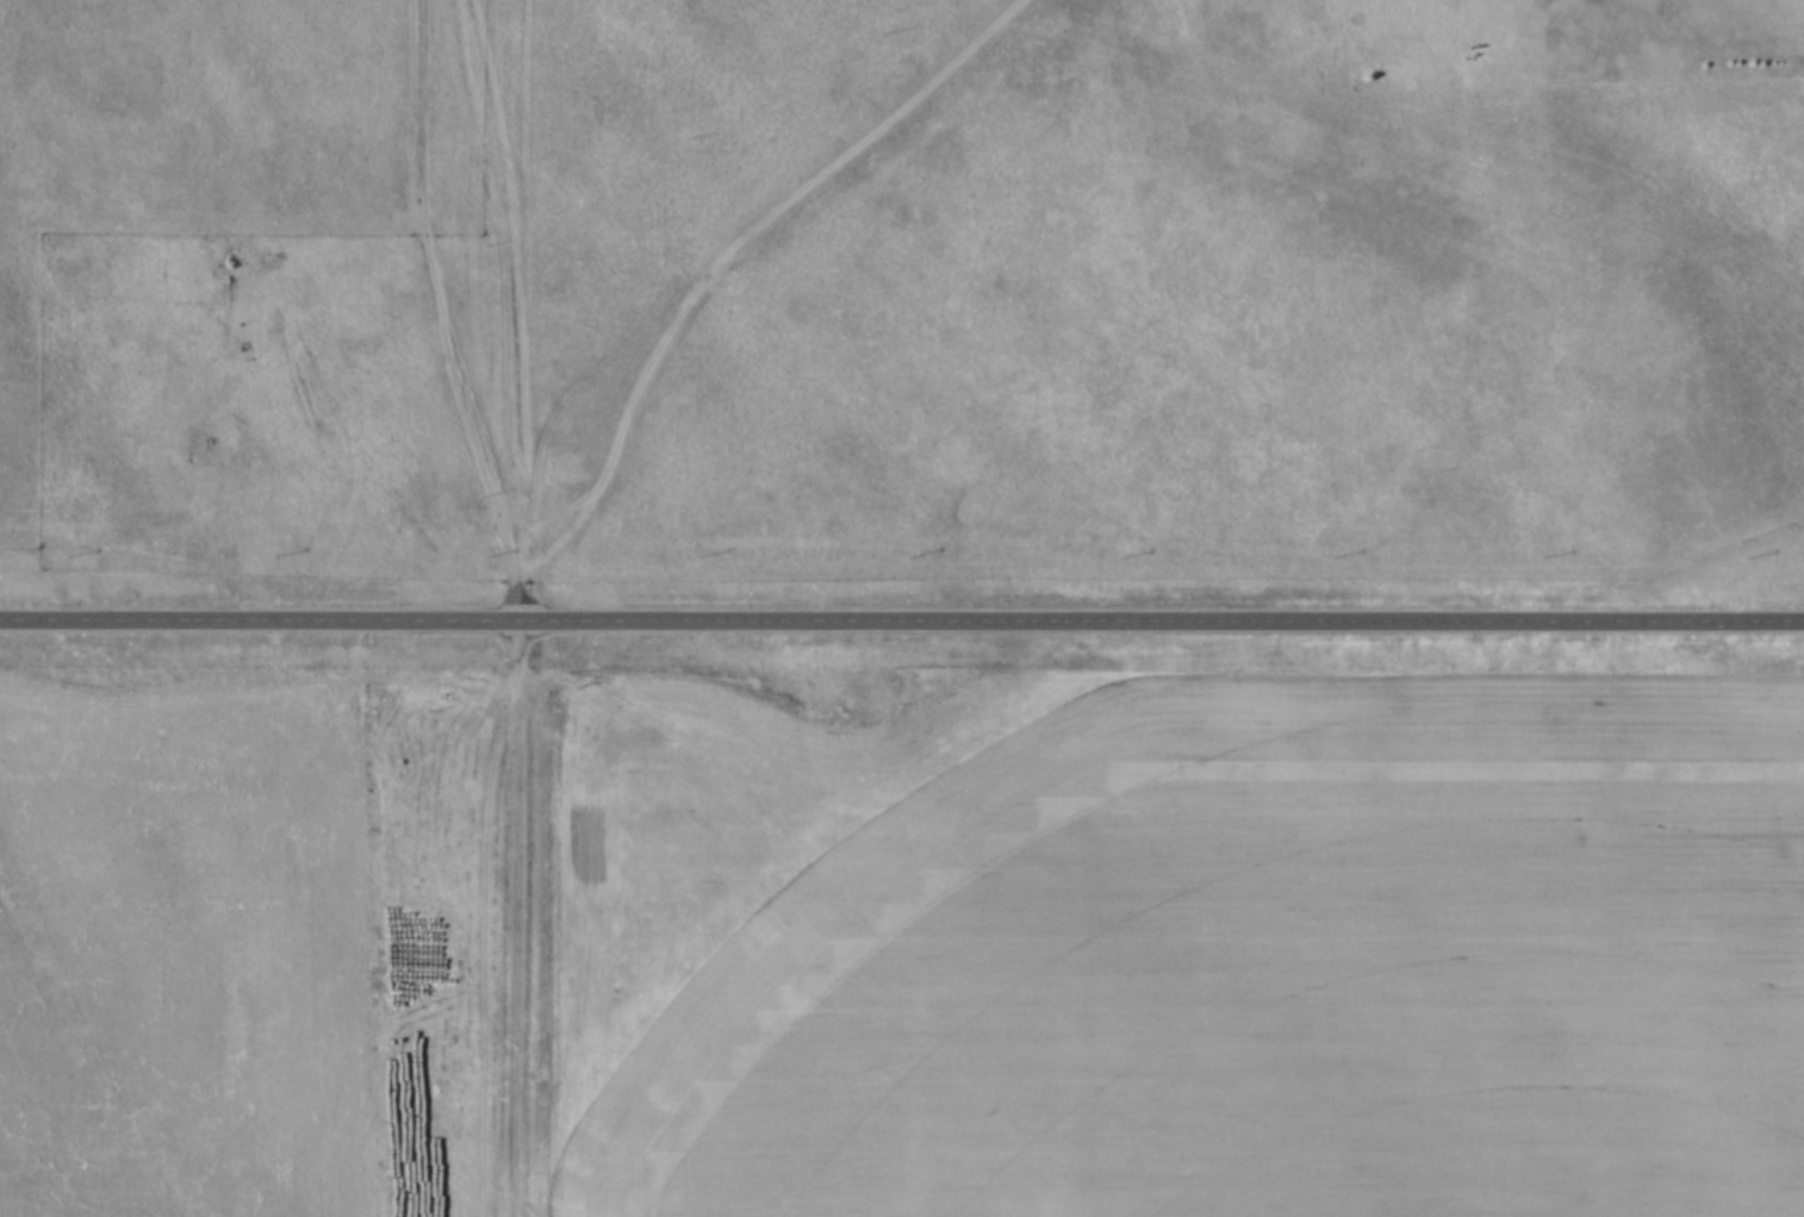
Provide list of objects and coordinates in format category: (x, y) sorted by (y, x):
road: (521, 604)
road: (901, 618)

